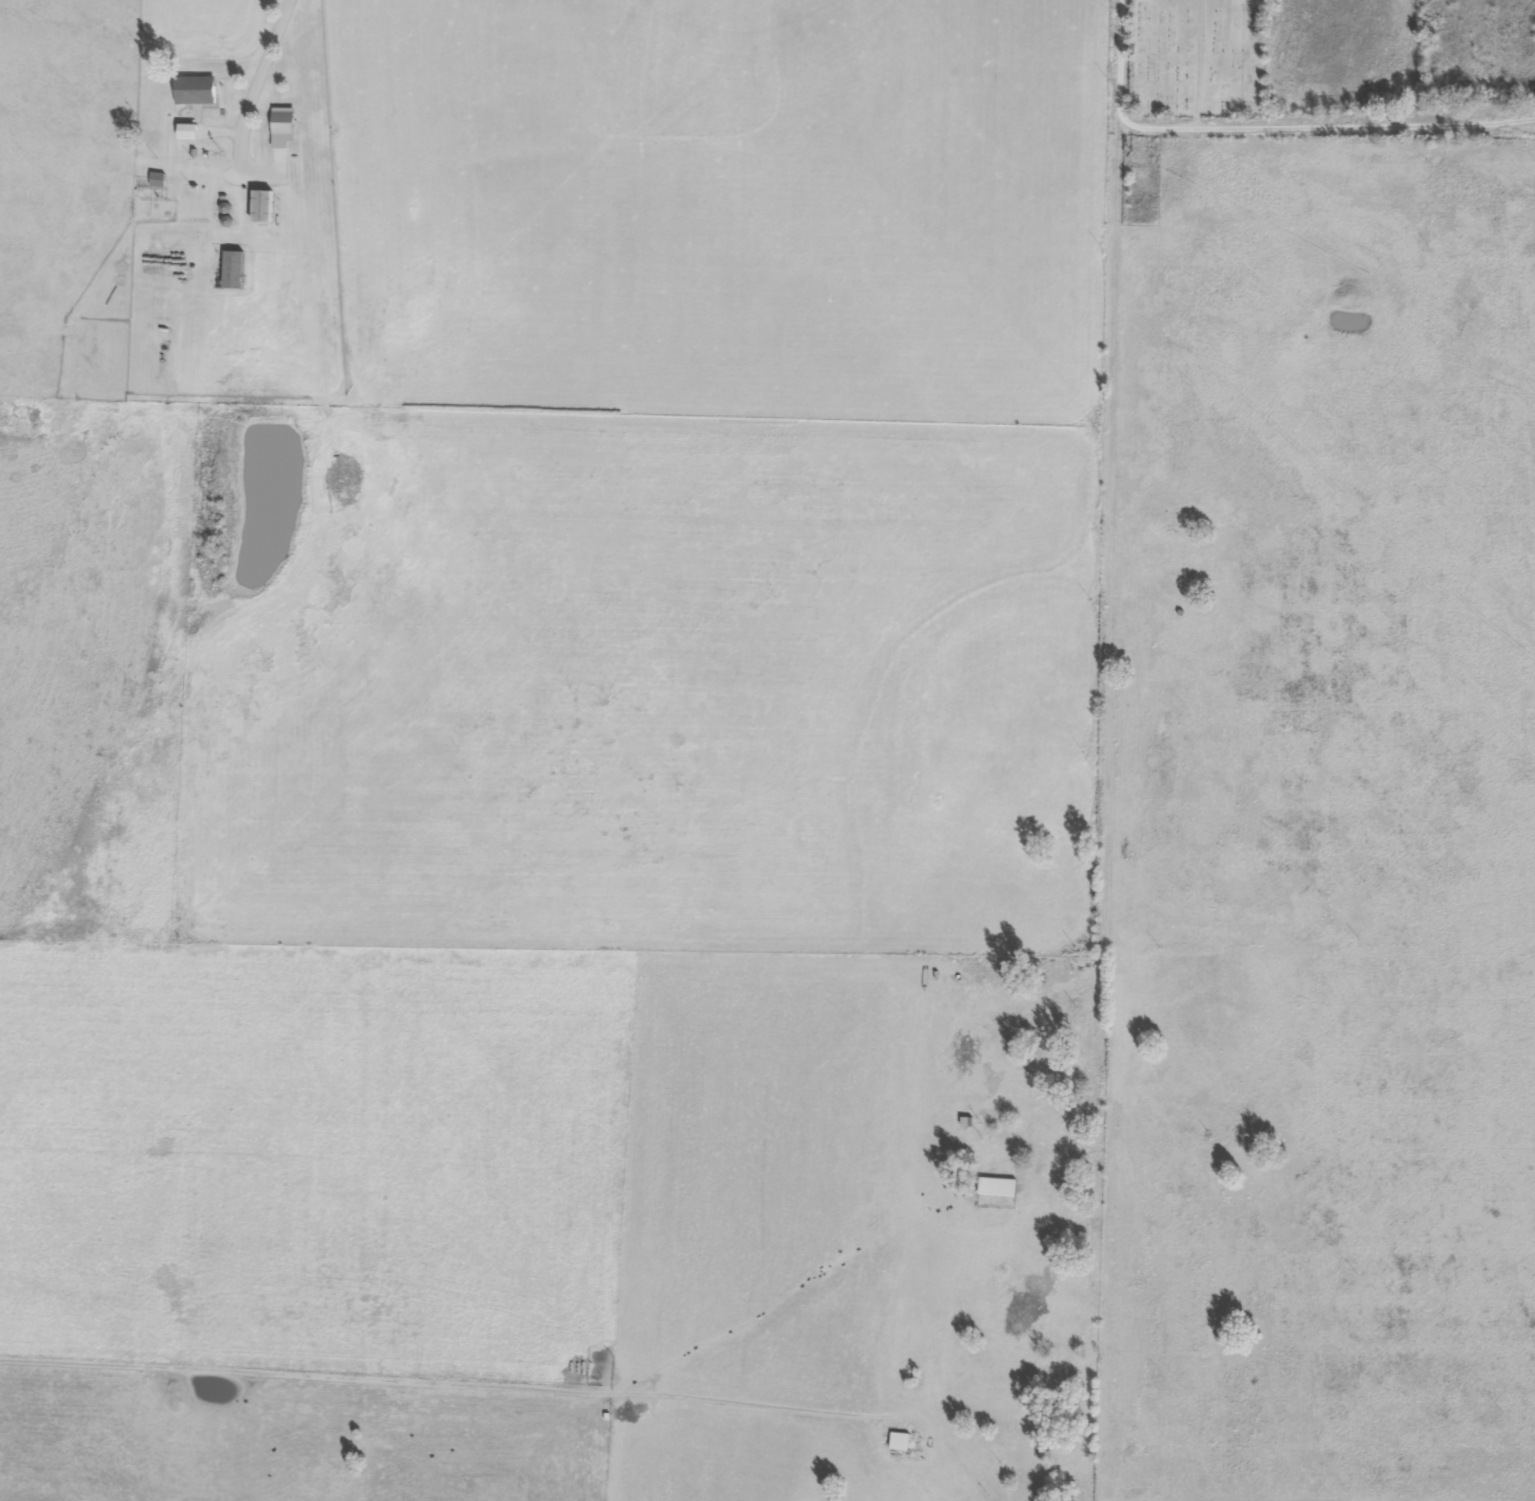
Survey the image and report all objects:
park: (1198, 58)
road: (260, 64)
building: (196, 89)
building: (284, 126)
road: (1258, 129)
building: (189, 130)
building: (264, 205)
building: (234, 268)

